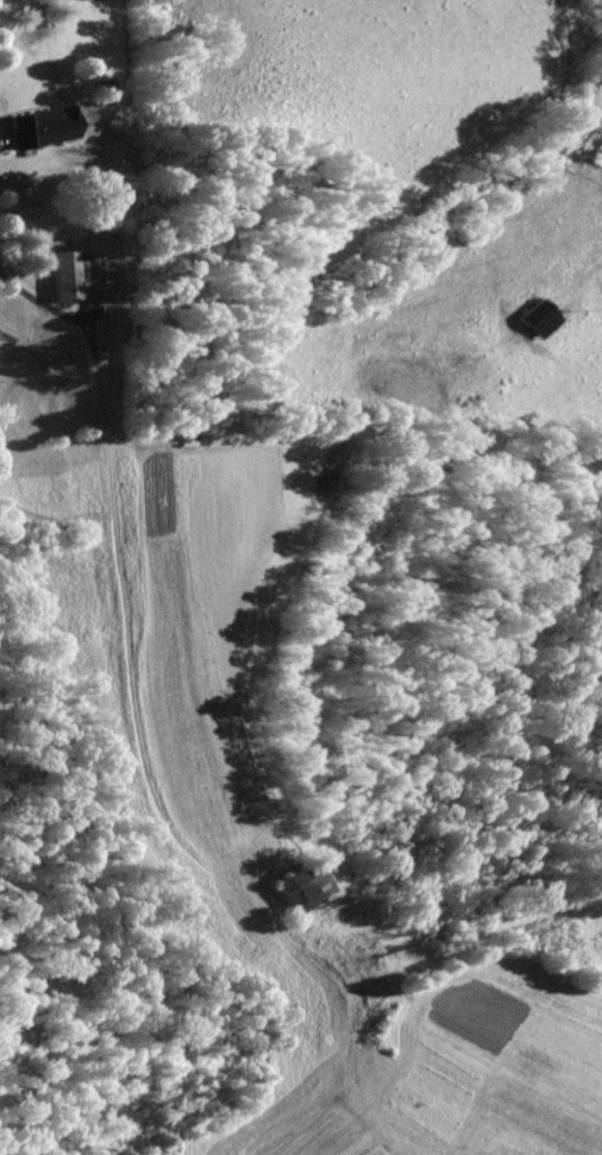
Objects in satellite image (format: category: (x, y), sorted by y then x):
building: (37, 125)
building: (12, 203)
building: (61, 269)
road: (57, 313)
building: (528, 318)
road: (142, 776)
building: (295, 890)

